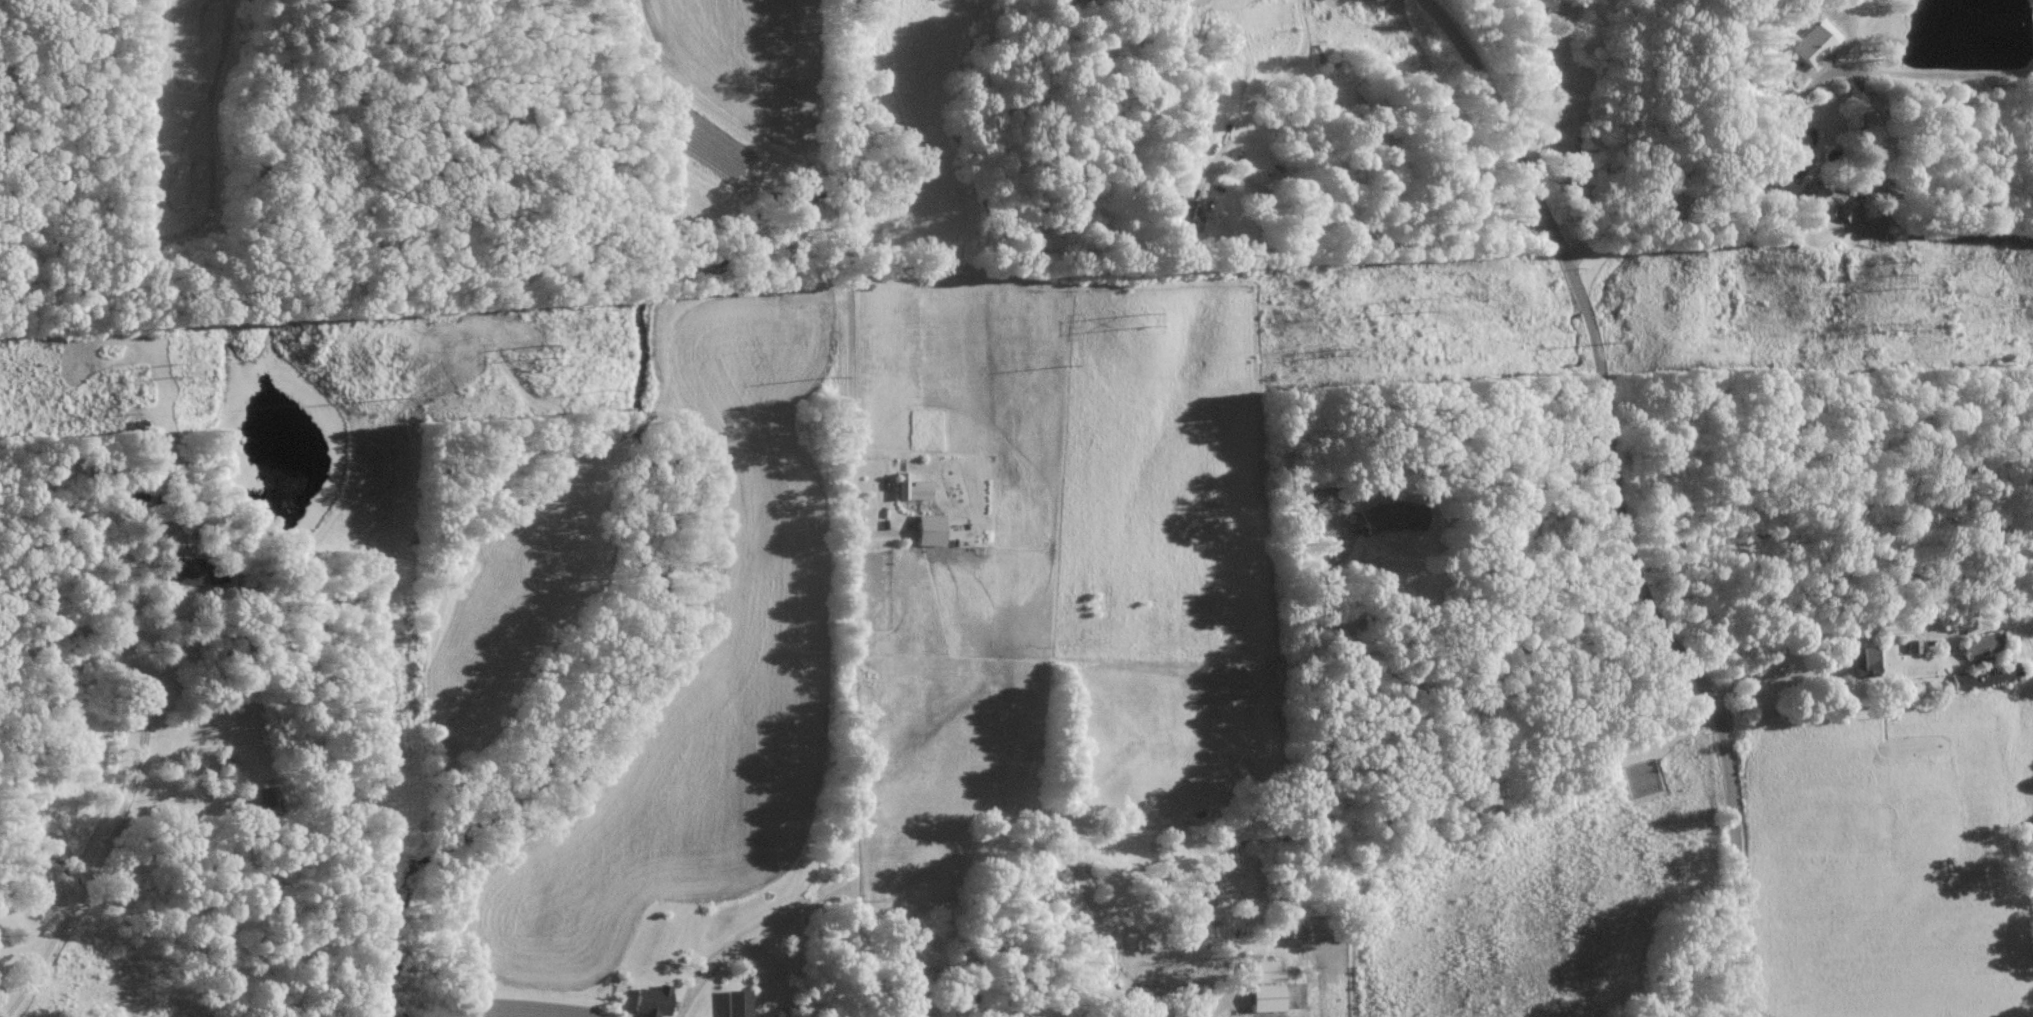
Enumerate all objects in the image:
building: (1809, 46)
road: (707, 104)
road: (1775, 124)
road: (1863, 129)
building: (1812, 203)
building: (1842, 209)
road: (807, 216)
building: (1180, 216)
road: (835, 254)
power tower: (1899, 276)
power tower: (1422, 303)
power tower: (1149, 319)
power tower: (1899, 322)
power tower: (1624, 334)
power tower: (543, 350)
power tower: (1342, 352)
power tower: (1077, 362)
power tower: (176, 369)
power tower: (839, 371)
power tower: (615, 388)
power tower: (403, 397)
power tower: (139, 411)
building: (909, 487)
road: (1629, 492)
building: (1329, 501)
building: (1393, 515)
building: (926, 529)
building: (177, 571)
road: (1823, 634)
building: (1979, 644)
building: (1912, 646)
road: (857, 649)
building: (1860, 659)
building: (1971, 678)
road: (1449, 687)
road: (130, 800)
road: (756, 940)
building: (1263, 984)
building: (649, 1000)
building: (734, 1002)
road: (1224, 1002)

